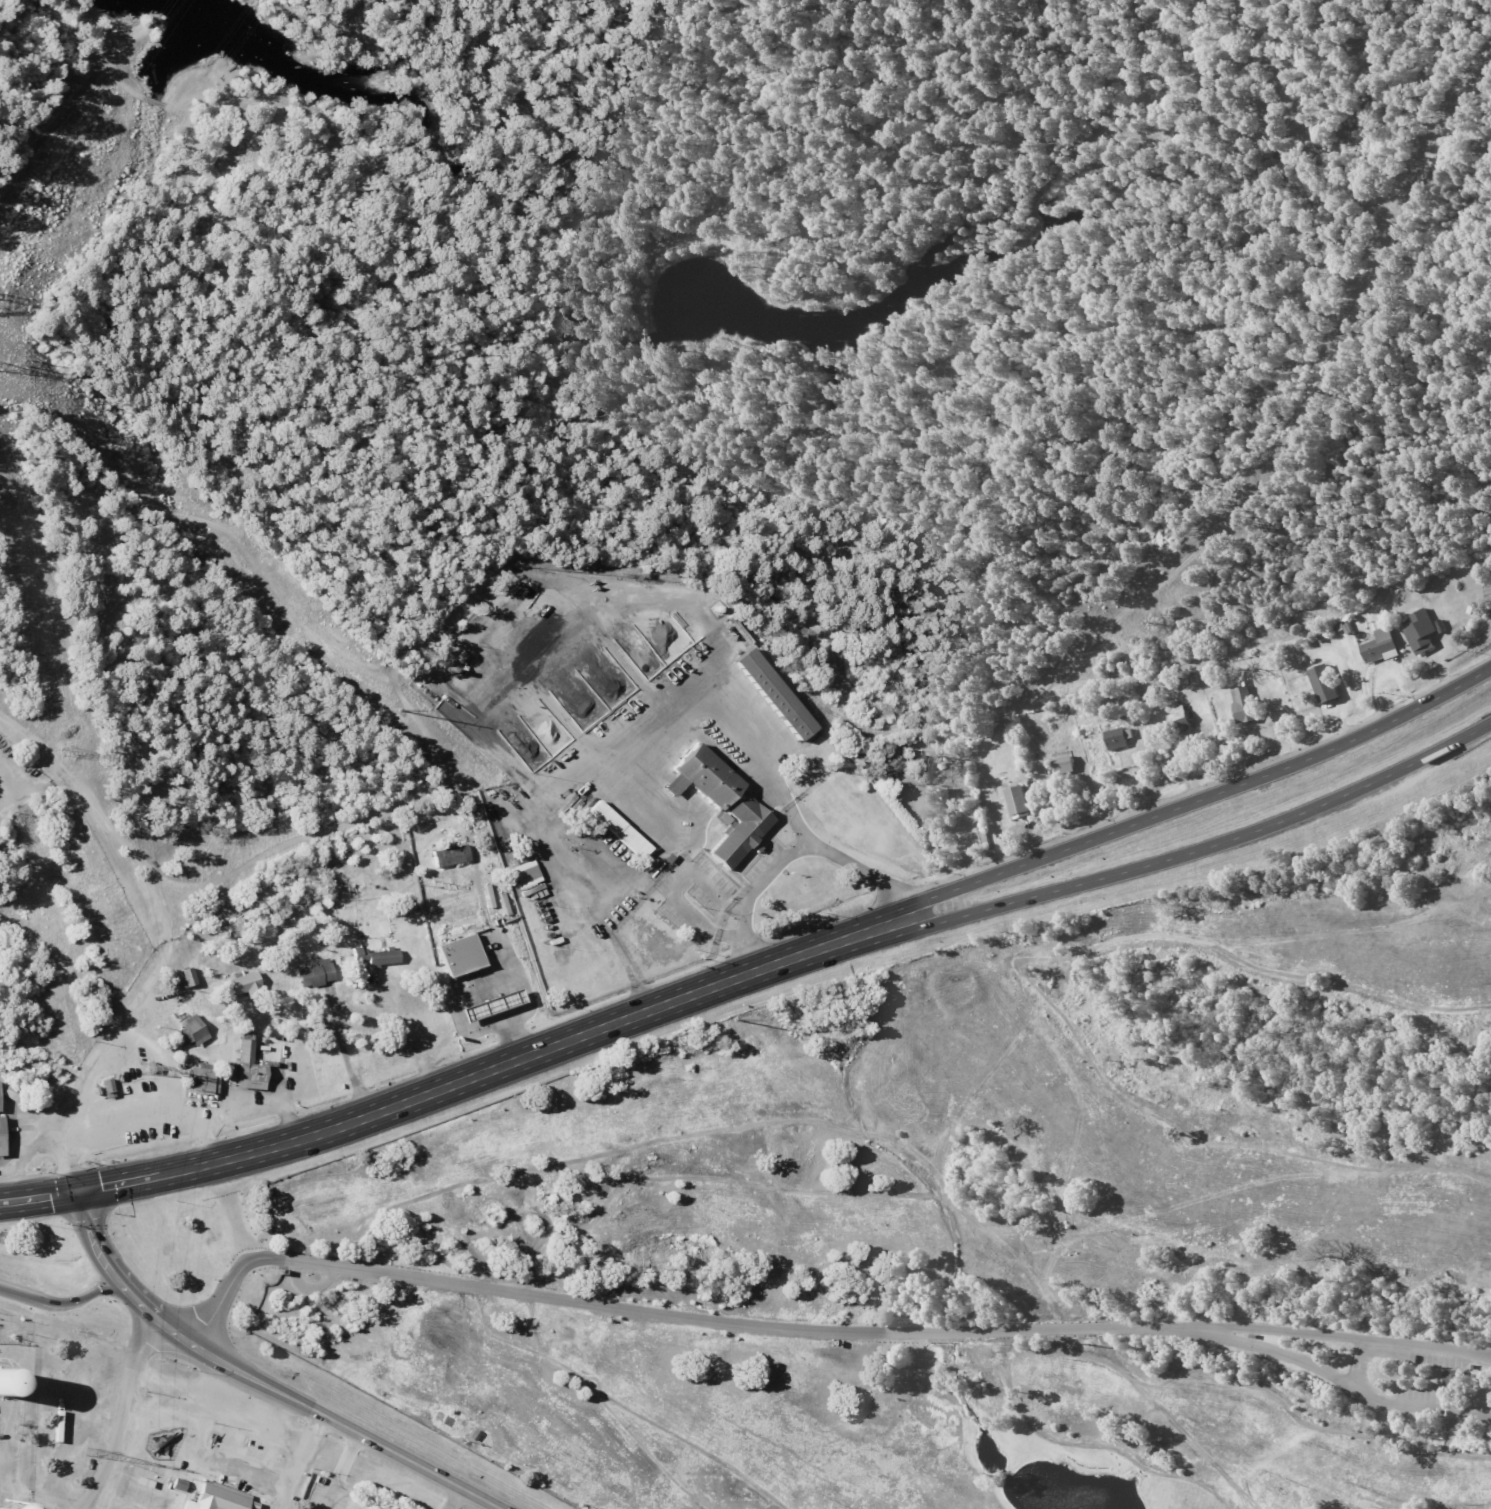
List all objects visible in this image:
power tower: (19, 361)
building: (1419, 630)
building: (1378, 645)
building: (1322, 683)
building: (772, 694)
building: (1242, 704)
power tower: (401, 713)
building: (1178, 718)
building: (1117, 737)
road: (677, 741)
power tower: (67, 752)
building: (1062, 764)
road: (32, 789)
building: (1016, 800)
building: (722, 803)
road: (544, 812)
road: (1131, 824)
building: (618, 829)
building: (448, 854)
road: (1135, 866)
building: (524, 874)
road: (636, 875)
road: (764, 883)
road: (169, 936)
road: (613, 945)
building: (381, 956)
building: (465, 957)
building: (315, 973)
building: (184, 976)
building: (241, 985)
road: (637, 988)
road: (469, 998)
building: (498, 1008)
gas station: (498, 1008)
power tower: (732, 1016)
building: (193, 1031)
road: (404, 1036)
road: (344, 1051)
road: (162, 1059)
building: (248, 1065)
road: (494, 1066)
power tower: (146, 1068)
building: (199, 1080)
road: (192, 1116)
building: (0, 1139)
road: (204, 1140)
road: (148, 1178)
traffic signals: (75, 1193)
road: (37, 1198)
park: (974, 1222)
road: (90, 1237)
road: (59, 1302)
road: (671, 1316)
road: (149, 1317)
road: (1340, 1338)
power tower: (1089, 1345)
parking lot: (1432, 1356)
road: (1360, 1364)
road: (1338, 1378)
building: (1451, 1380)
building: (4, 1383)
parking lot: (1421, 1398)
park: (53, 1411)
road: (235, 1414)
road: (121, 1415)
road: (344, 1427)
power tower: (90, 1454)
road: (340, 1471)
road: (294, 1477)
building: (216, 1498)
road: (452, 1499)

